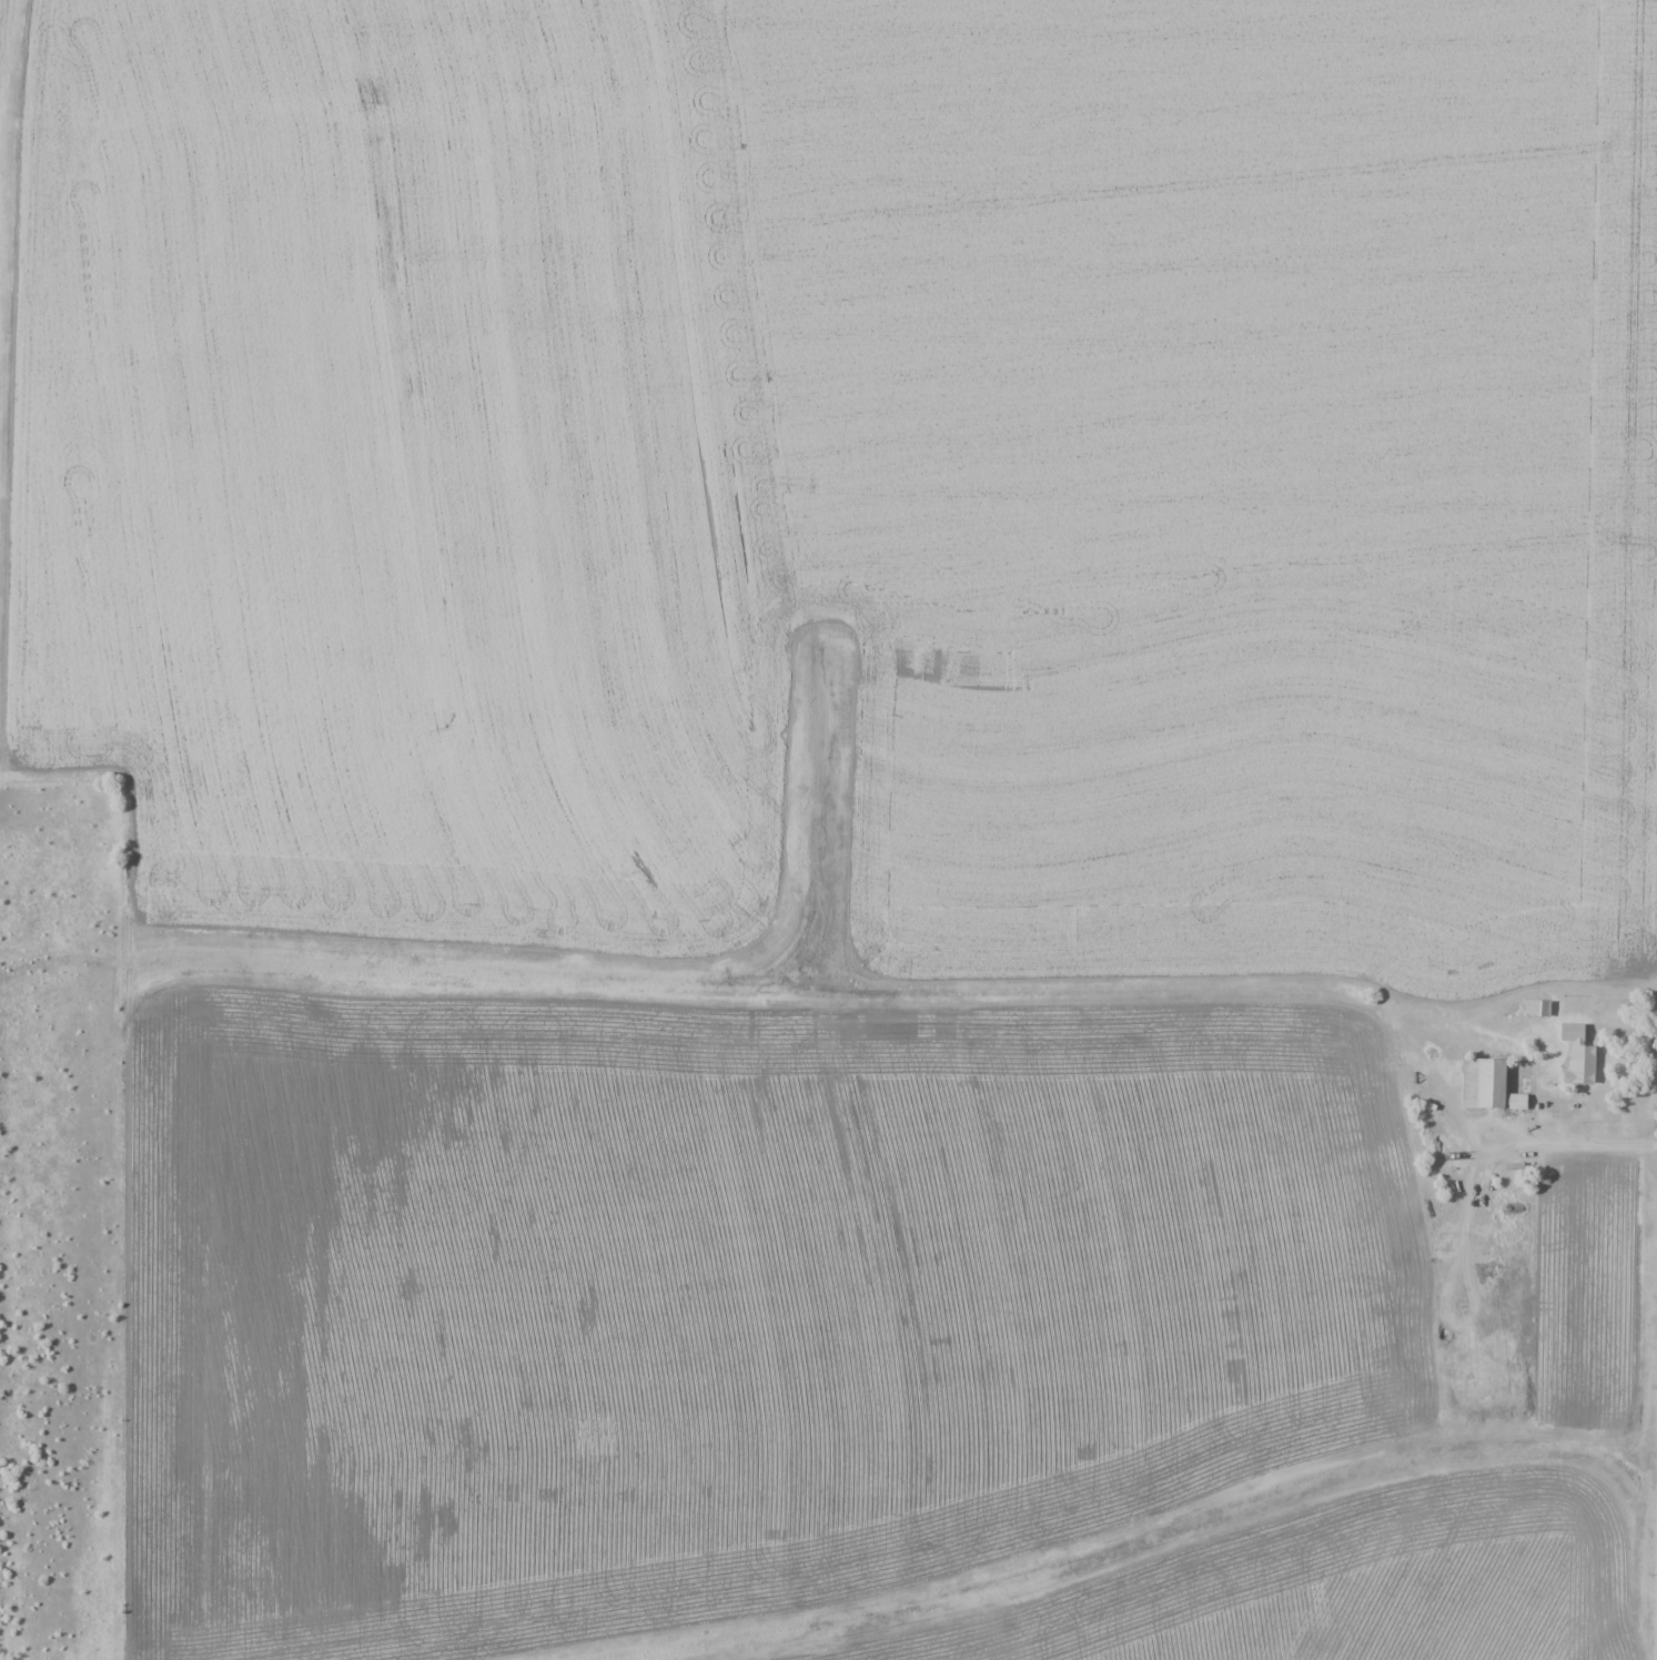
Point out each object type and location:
building: (1537, 1008)
building: (1576, 1053)
building: (1483, 1083)
building: (1515, 1101)

